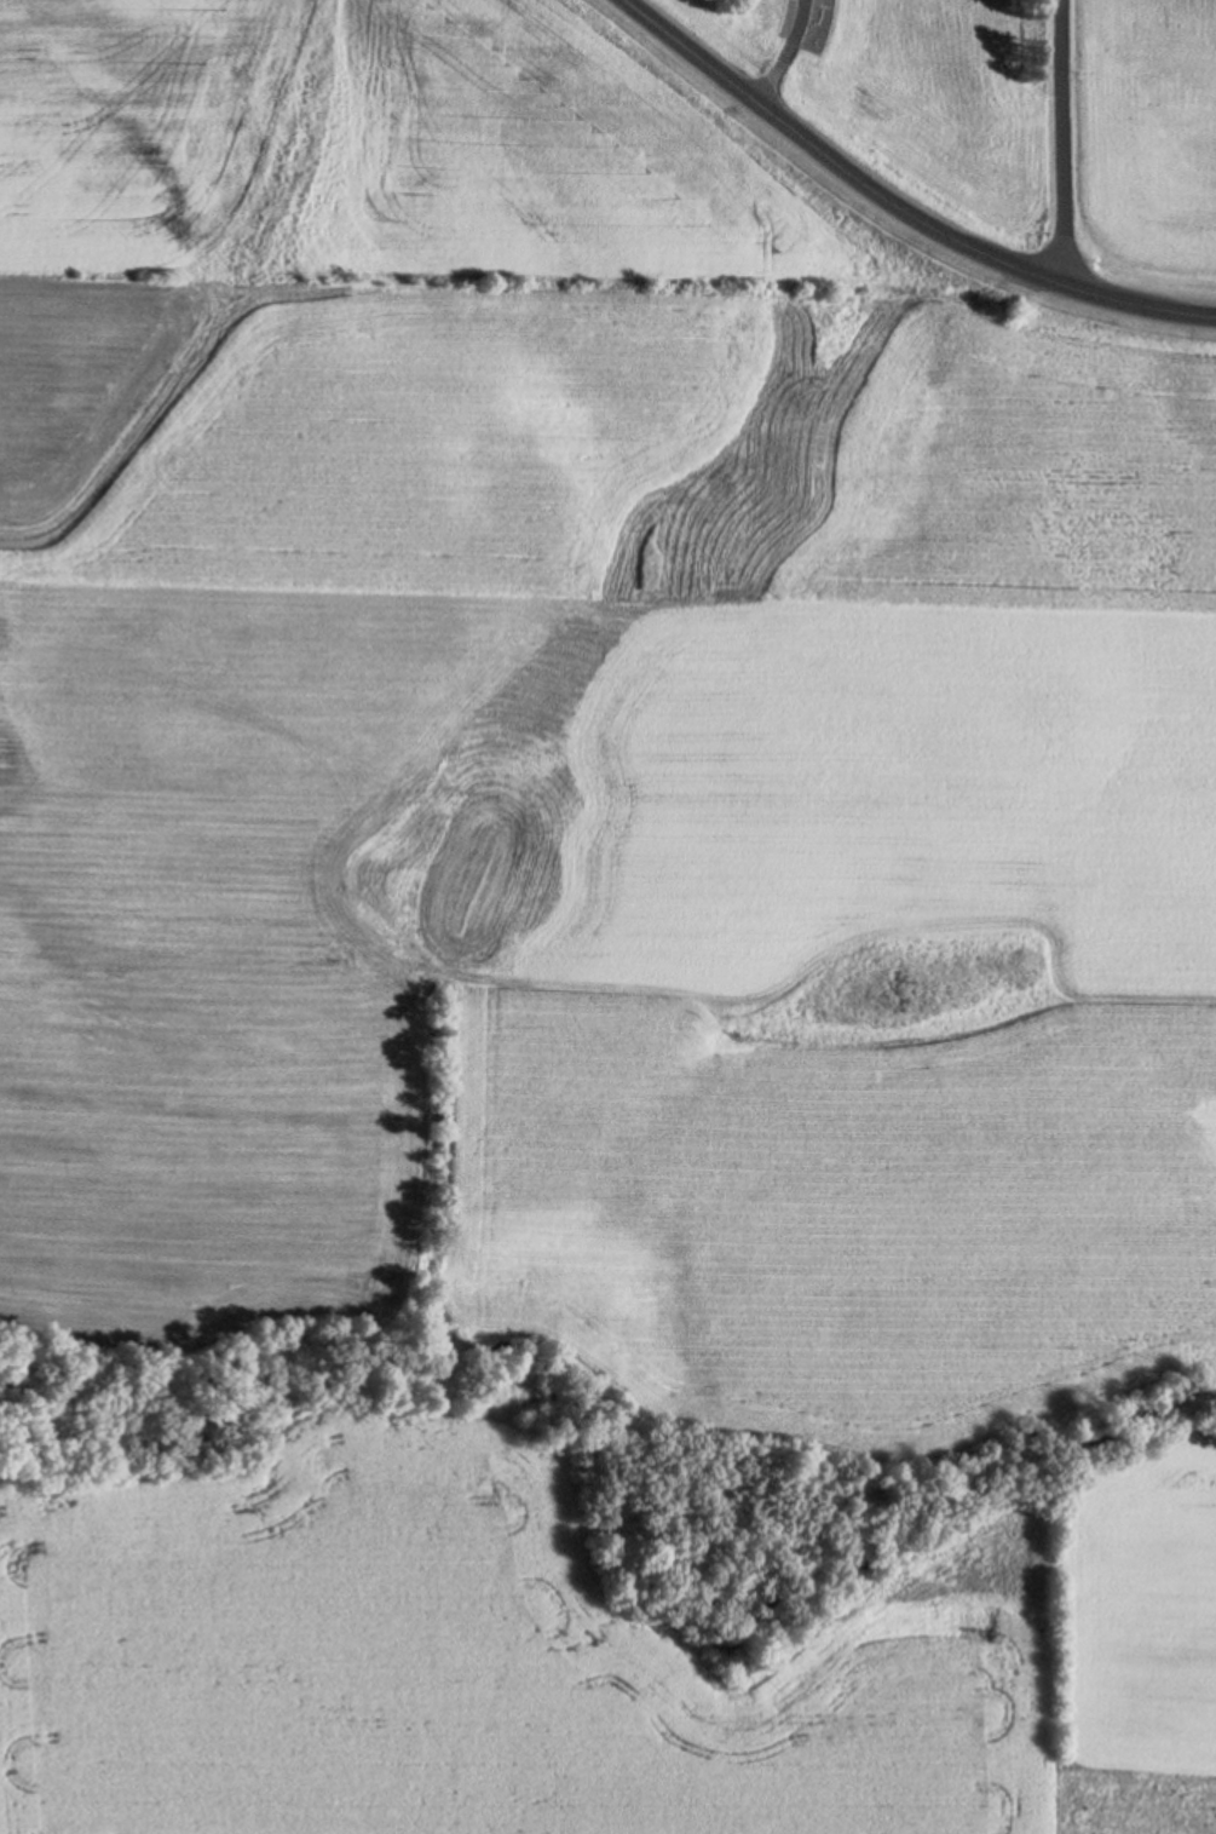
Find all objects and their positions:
road: (785, 48)
park: (955, 109)
road: (1061, 138)
road: (901, 205)

